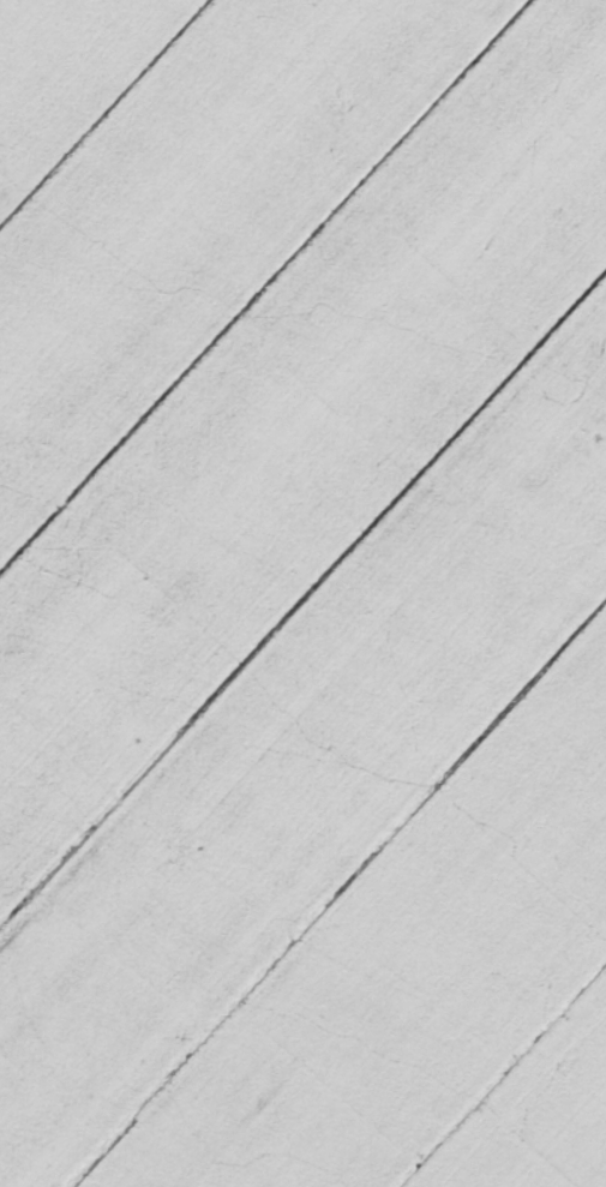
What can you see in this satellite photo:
crop: (302, 593)

